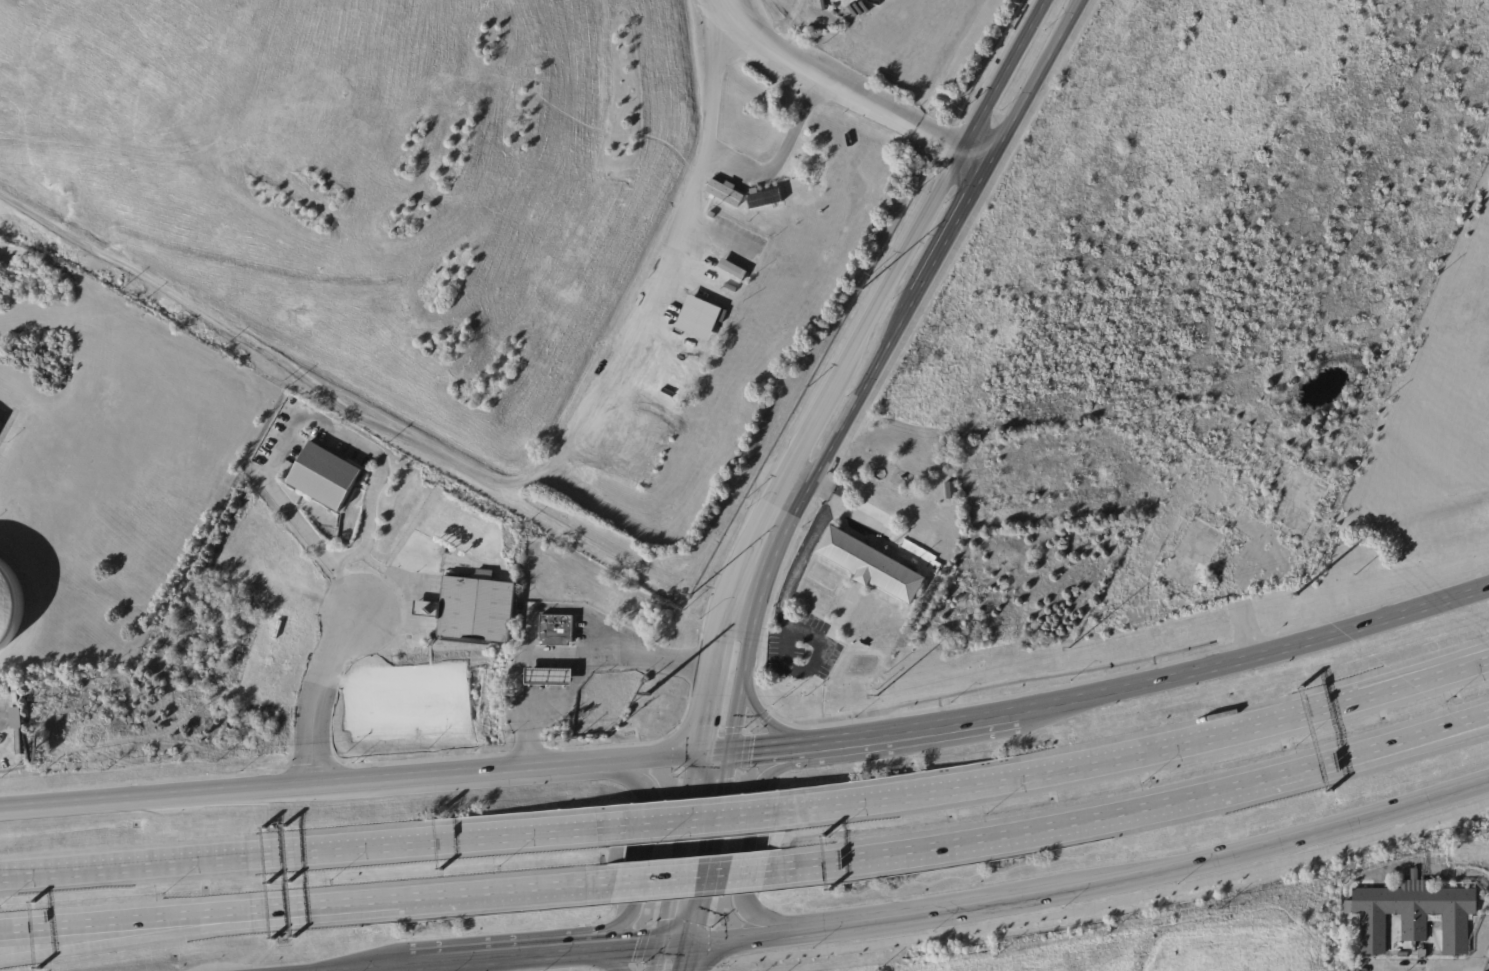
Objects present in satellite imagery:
road: (838, 80)
road: (971, 157)
road: (723, 166)
landfill: (374, 184)
building: (726, 193)
building: (764, 198)
road: (911, 235)
road: (943, 241)
building: (732, 274)
building: (736, 288)
building: (698, 317)
road: (298, 421)
road: (419, 445)
building: (328, 477)
road: (841, 504)
road: (776, 520)
building: (869, 565)
road: (746, 591)
storage tank: (10, 603)
road: (558, 606)
building: (473, 610)
road: (782, 627)
building: (557, 629)
road: (1254, 650)
road: (529, 656)
road: (1475, 658)
road: (1475, 659)
road: (583, 668)
building: (547, 675)
road: (708, 681)
road: (740, 682)
road: (312, 694)
building: (268, 710)
road: (762, 717)
road: (1470, 721)
road: (1470, 723)
road: (906, 728)
road: (760, 747)
traffic signals: (725, 750)
traffic signals: (692, 753)
road: (1124, 754)
road: (362, 780)
road: (1114, 814)
road: (702, 816)
road: (748, 835)
road: (708, 845)
road: (675, 848)
road: (1251, 848)
road: (312, 849)
road: (637, 852)
road: (1459, 873)
road: (692, 874)
road: (438, 896)
road: (1050, 913)
road: (890, 914)
building: (1411, 915)
road: (130, 922)
road: (730, 935)
road: (131, 939)
traffic signals: (690, 940)
road: (674, 941)
traffic signals: (659, 943)
road: (628, 946)
road: (685, 955)
building: (1402, 955)
building: (1421, 956)
road: (1477, 956)
road: (502, 957)
road: (654, 957)
road: (611, 958)
road: (374, 968)
road: (1479, 969)

